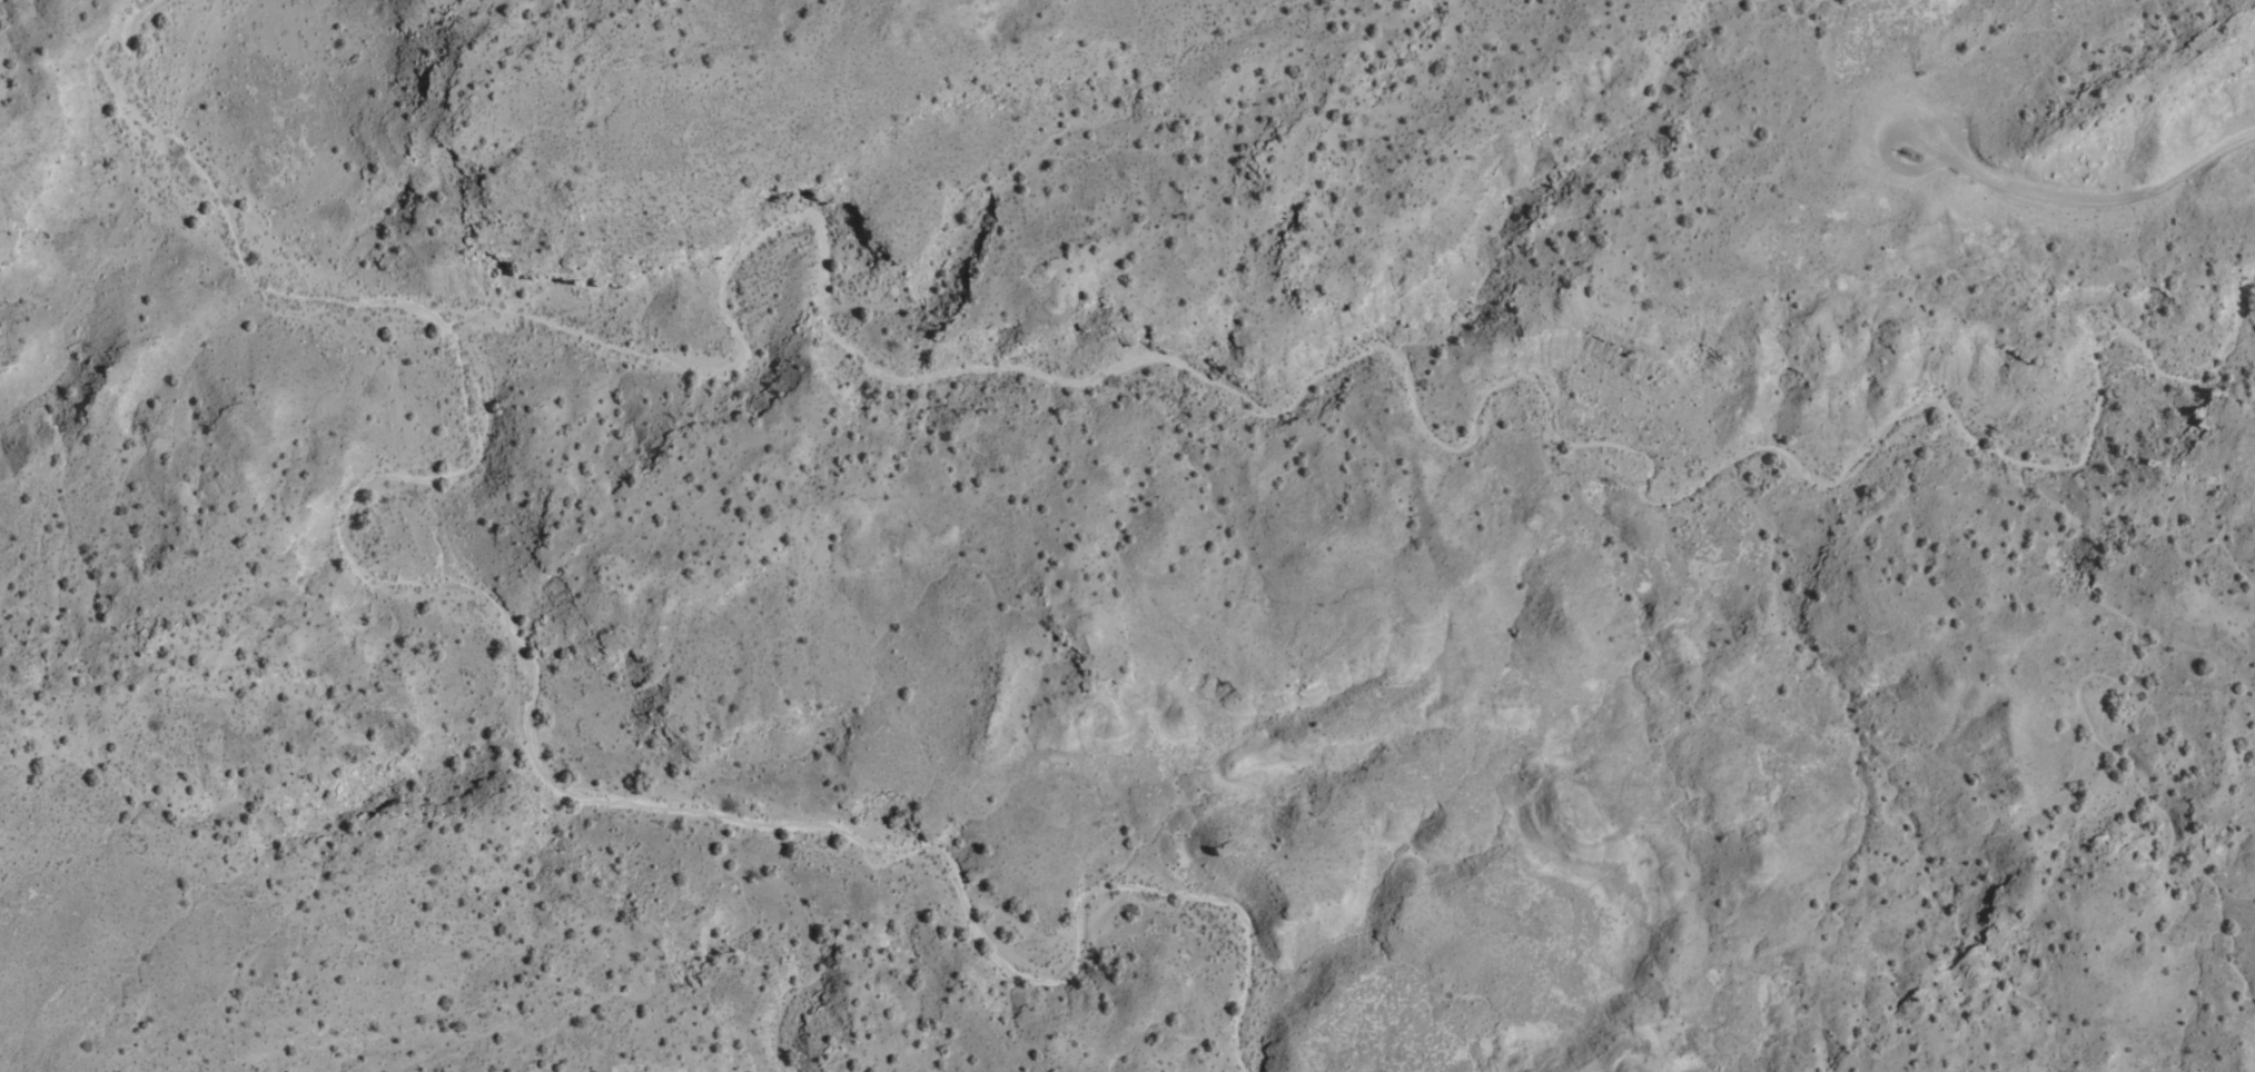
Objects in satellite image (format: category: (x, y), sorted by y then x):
road: (1886, 140)
road: (2105, 191)

